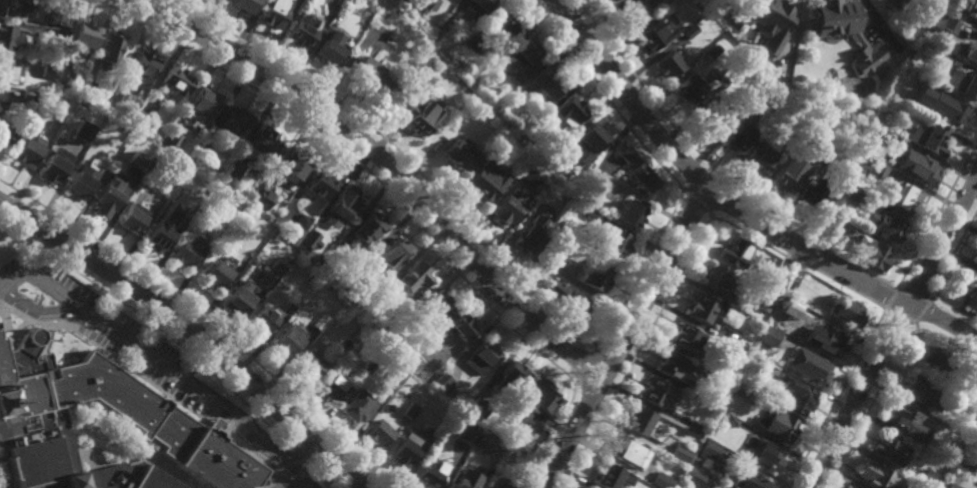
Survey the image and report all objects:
building: (607, 0)
building: (612, 0)
building: (894, 4)
building: (245, 6)
building: (426, 6)
building: (13, 8)
building: (779, 8)
building: (478, 9)
building: (274, 13)
building: (633, 13)
building: (958, 14)
building: (59, 19)
building: (445, 23)
building: (944, 24)
building: (501, 26)
building: (303, 30)
building: (690, 32)
building: (847, 32)
building: (789, 33)
building: (58, 34)
building: (85, 36)
building: (656, 36)
building: (12, 39)
building: (469, 41)
building: (111, 51)
building: (461, 51)
building: (330, 54)
building: (971, 54)
building: (521, 55)
building: (943, 58)
building: (668, 65)
building: (868, 65)
building: (50, 70)
building: (143, 71)
building: (7, 72)
building: (370, 77)
building: (66, 79)
building: (177, 82)
building: (478, 84)
building: (547, 84)
building: (963, 86)
building: (405, 89)
building: (688, 90)
building: (89, 91)
building: (756, 91)
road: (602, 94)
building: (29, 96)
building: (0, 97)
building: (116, 101)
building: (892, 103)
building: (2, 105)
building: (940, 107)
building: (202, 108)
building: (570, 112)
building: (713, 113)
building: (422, 117)
building: (815, 119)
building: (236, 121)
building: (142, 123)
building: (84, 132)
building: (6, 134)
building: (735, 137)
building: (930, 140)
building: (171, 141)
building: (893, 141)
building: (589, 143)
building: (267, 145)
building: (30, 149)
building: (825, 153)
building: (762, 154)
building: (458, 157)
building: (198, 158)
building: (555, 162)
road: (390, 164)
building: (294, 167)
road: (712, 169)
building: (877, 170)
building: (234, 171)
building: (638, 171)
building: (923, 171)
building: (55, 172)
building: (526, 175)
building: (788, 175)
building: (592, 181)
building: (485, 183)
building: (82, 184)
building: (322, 185)
road: (682, 191)
building: (849, 192)
building: (814, 196)
building: (905, 199)
building: (107, 200)
building: (263, 200)
road: (697, 201)
road: (400, 202)
building: (346, 204)
road: (734, 207)
building: (510, 208)
building: (191, 209)
road: (936, 214)
road: (457, 215)
building: (629, 215)
road: (711, 215)
building: (133, 218)
building: (591, 218)
building: (303, 221)
building: (837, 222)
building: (885, 225)
building: (314, 228)
building: (369, 228)
building: (158, 234)
building: (528, 236)
road: (752, 237)
building: (310, 240)
building: (609, 240)
building: (194, 244)
building: (337, 248)
building: (395, 250)
building: (734, 251)
building: (185, 252)
building: (873, 252)
road: (953, 252)
road: (42, 256)
building: (976, 258)
building: (545, 262)
building: (596, 271)
building: (216, 273)
building: (360, 273)
building: (414, 275)
building: (717, 277)
building: (266, 278)
building: (774, 283)
building: (968, 288)
building: (382, 292)
building: (564, 295)
building: (296, 299)
building: (732, 299)
building: (238, 300)
building: (782, 301)
building: (436, 304)
building: (764, 304)
building: (704, 306)
building: (846, 310)
road: (956, 310)
building: (264, 318)
road: (207, 319)
building: (320, 321)
building: (459, 327)
building: (356, 328)
road: (192, 329)
road: (893, 334)
building: (769, 335)
road: (624, 337)
building: (687, 337)
building: (291, 339)
building: (828, 340)
road: (177, 342)
road: (597, 342)
building: (738, 344)
building: (485, 352)
building: (414, 355)
building: (939, 360)
building: (311, 363)
building: (762, 363)
road: (162, 364)
building: (405, 364)
road: (588, 364)
building: (672, 364)
building: (809, 364)
building: (369, 365)
building: (724, 368)
building: (398, 372)
building: (508, 377)
building: (444, 383)
building: (335, 384)
road: (575, 384)
building: (920, 388)
building: (655, 391)
building: (744, 391)
building: (971, 391)
building: (797, 394)
building: (477, 398)
building: (534, 402)
building: (359, 405)
building: (409, 410)
building: (730, 419)
building: (906, 419)
building: (640, 420)
building: (776, 424)
building: (963, 425)
building: (976, 425)
building: (693, 426)
building: (110, 433)
building: (467, 433)
building: (379, 434)
building: (482, 443)
building: (889, 448)
building: (717, 449)
building: (948, 449)
building: (406, 450)
building: (627, 450)
road: (296, 452)
building: (679, 452)
building: (766, 454)
building: (489, 466)
building: (968, 467)
building: (872, 474)
building: (429, 475)
building: (613, 476)
building: (701, 477)
building: (930, 478)
road: (288, 480)
building: (662, 480)
building: (751, 480)
building: (463, 481)
building: (503, 483)
building: (846, 487)
building: (850, 487)
building: (952, 487)

